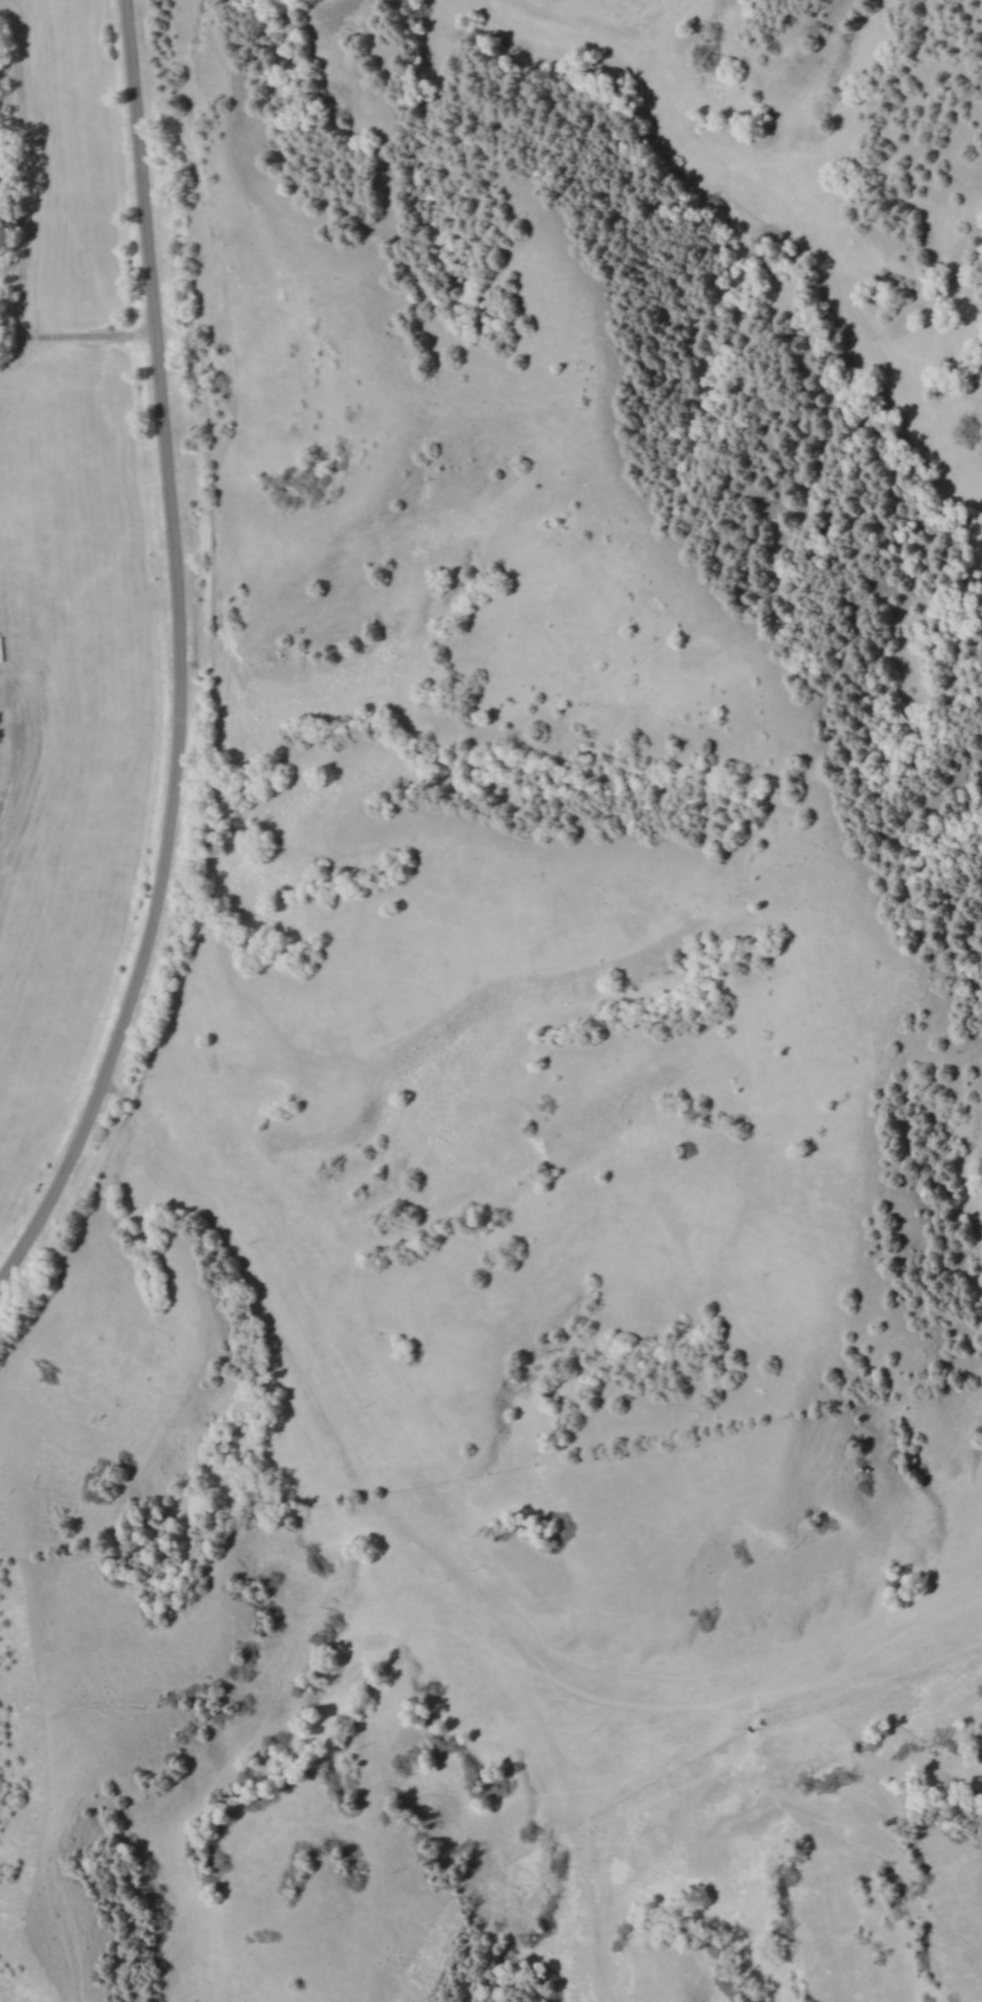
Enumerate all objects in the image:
road: (78, 332)
road: (182, 656)

